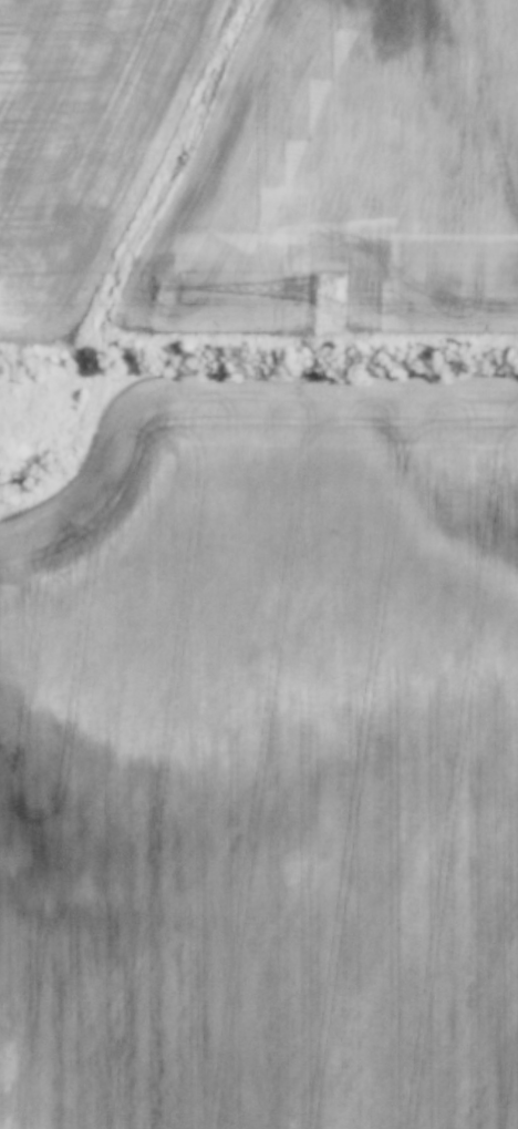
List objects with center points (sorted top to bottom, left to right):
power tower: (335, 302)

